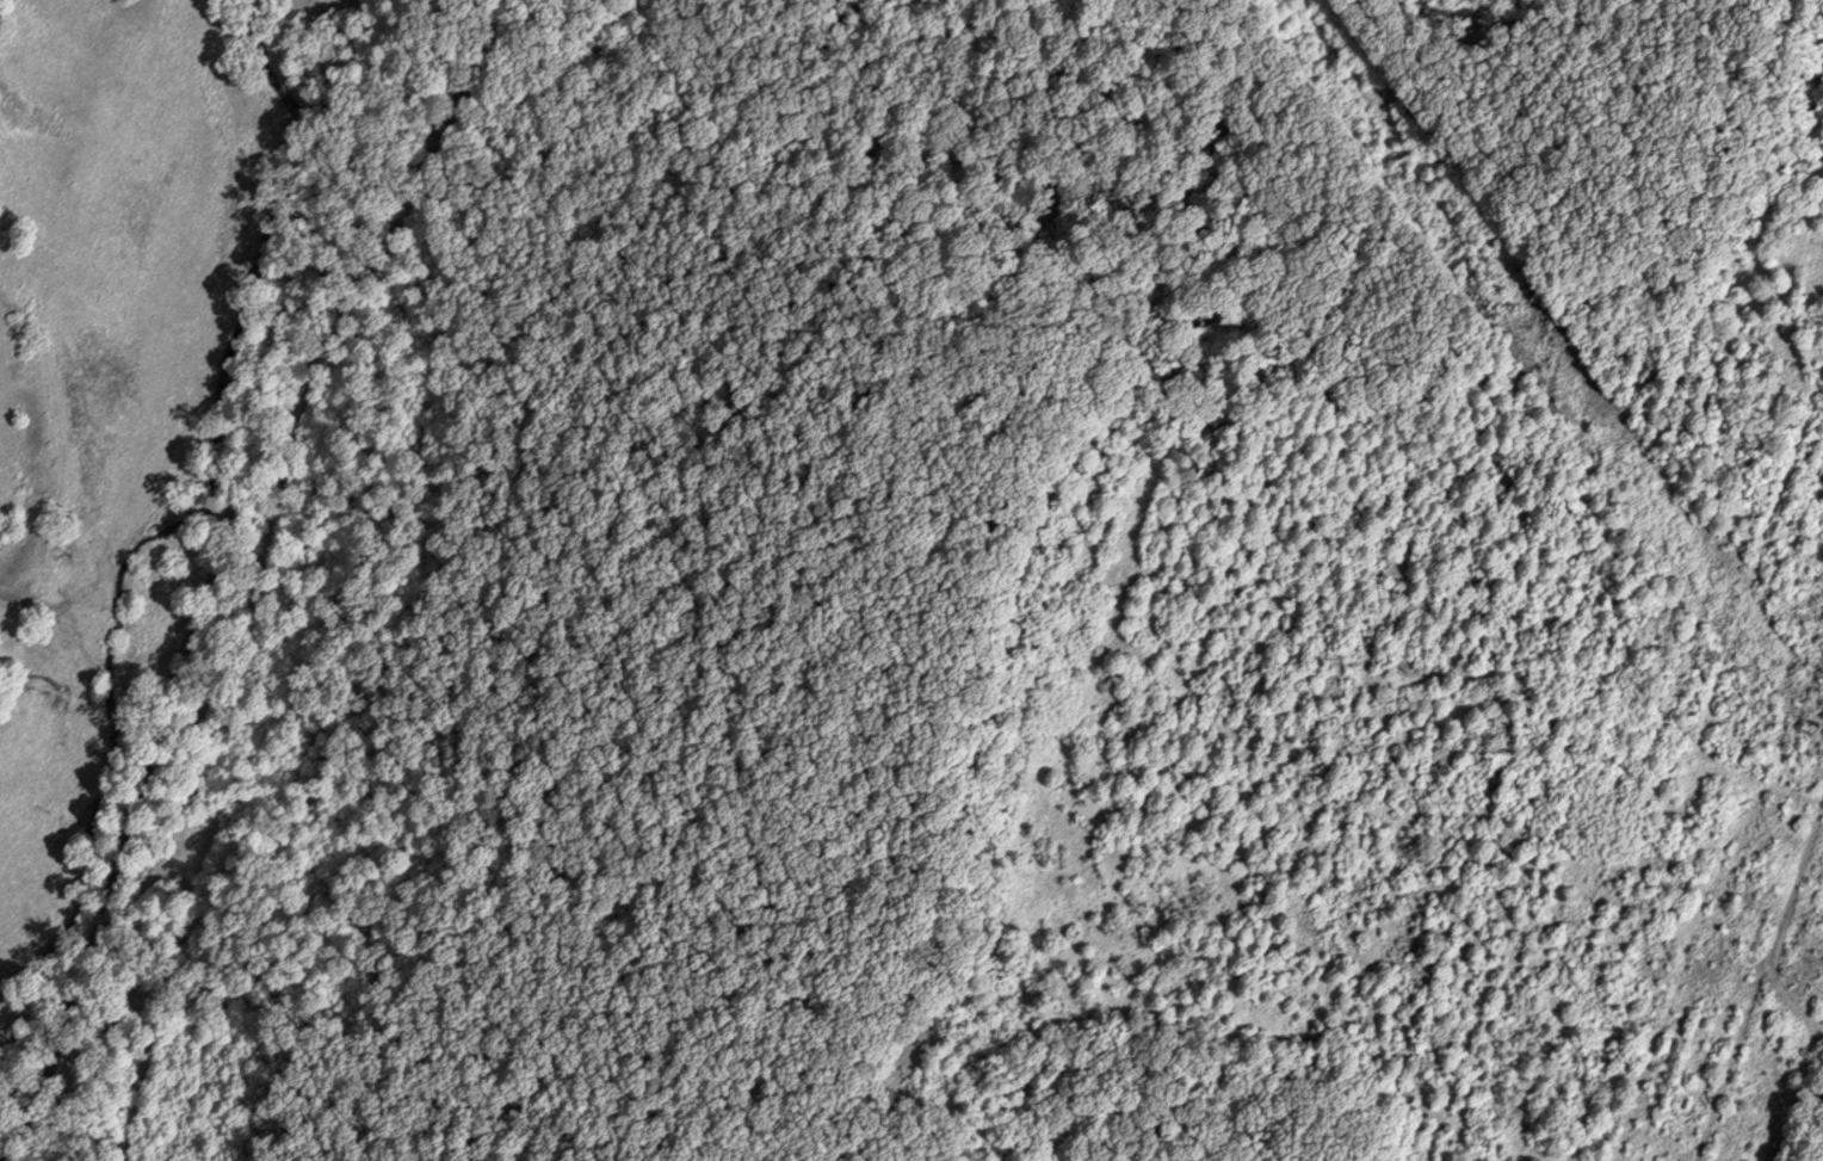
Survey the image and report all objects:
road: (296, 261)
road: (304, 397)
road: (342, 710)
road: (124, 847)

